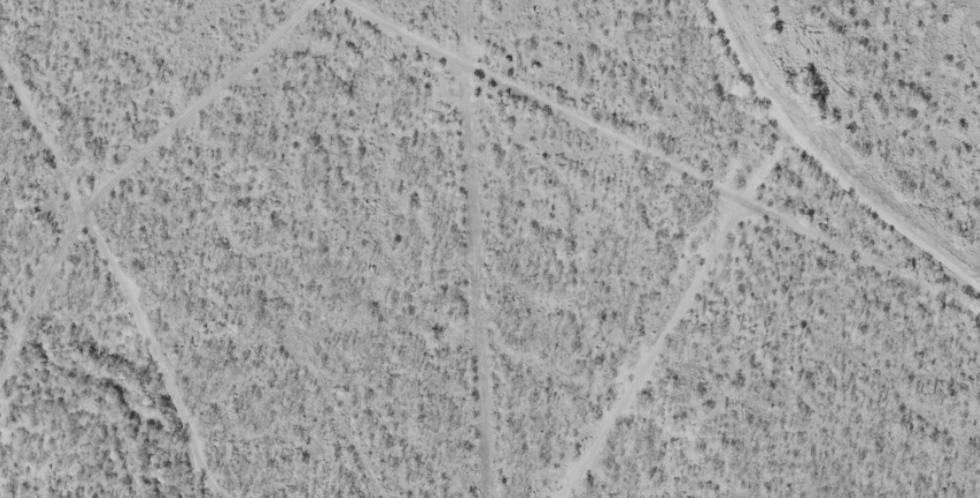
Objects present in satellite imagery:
road: (824, 163)

